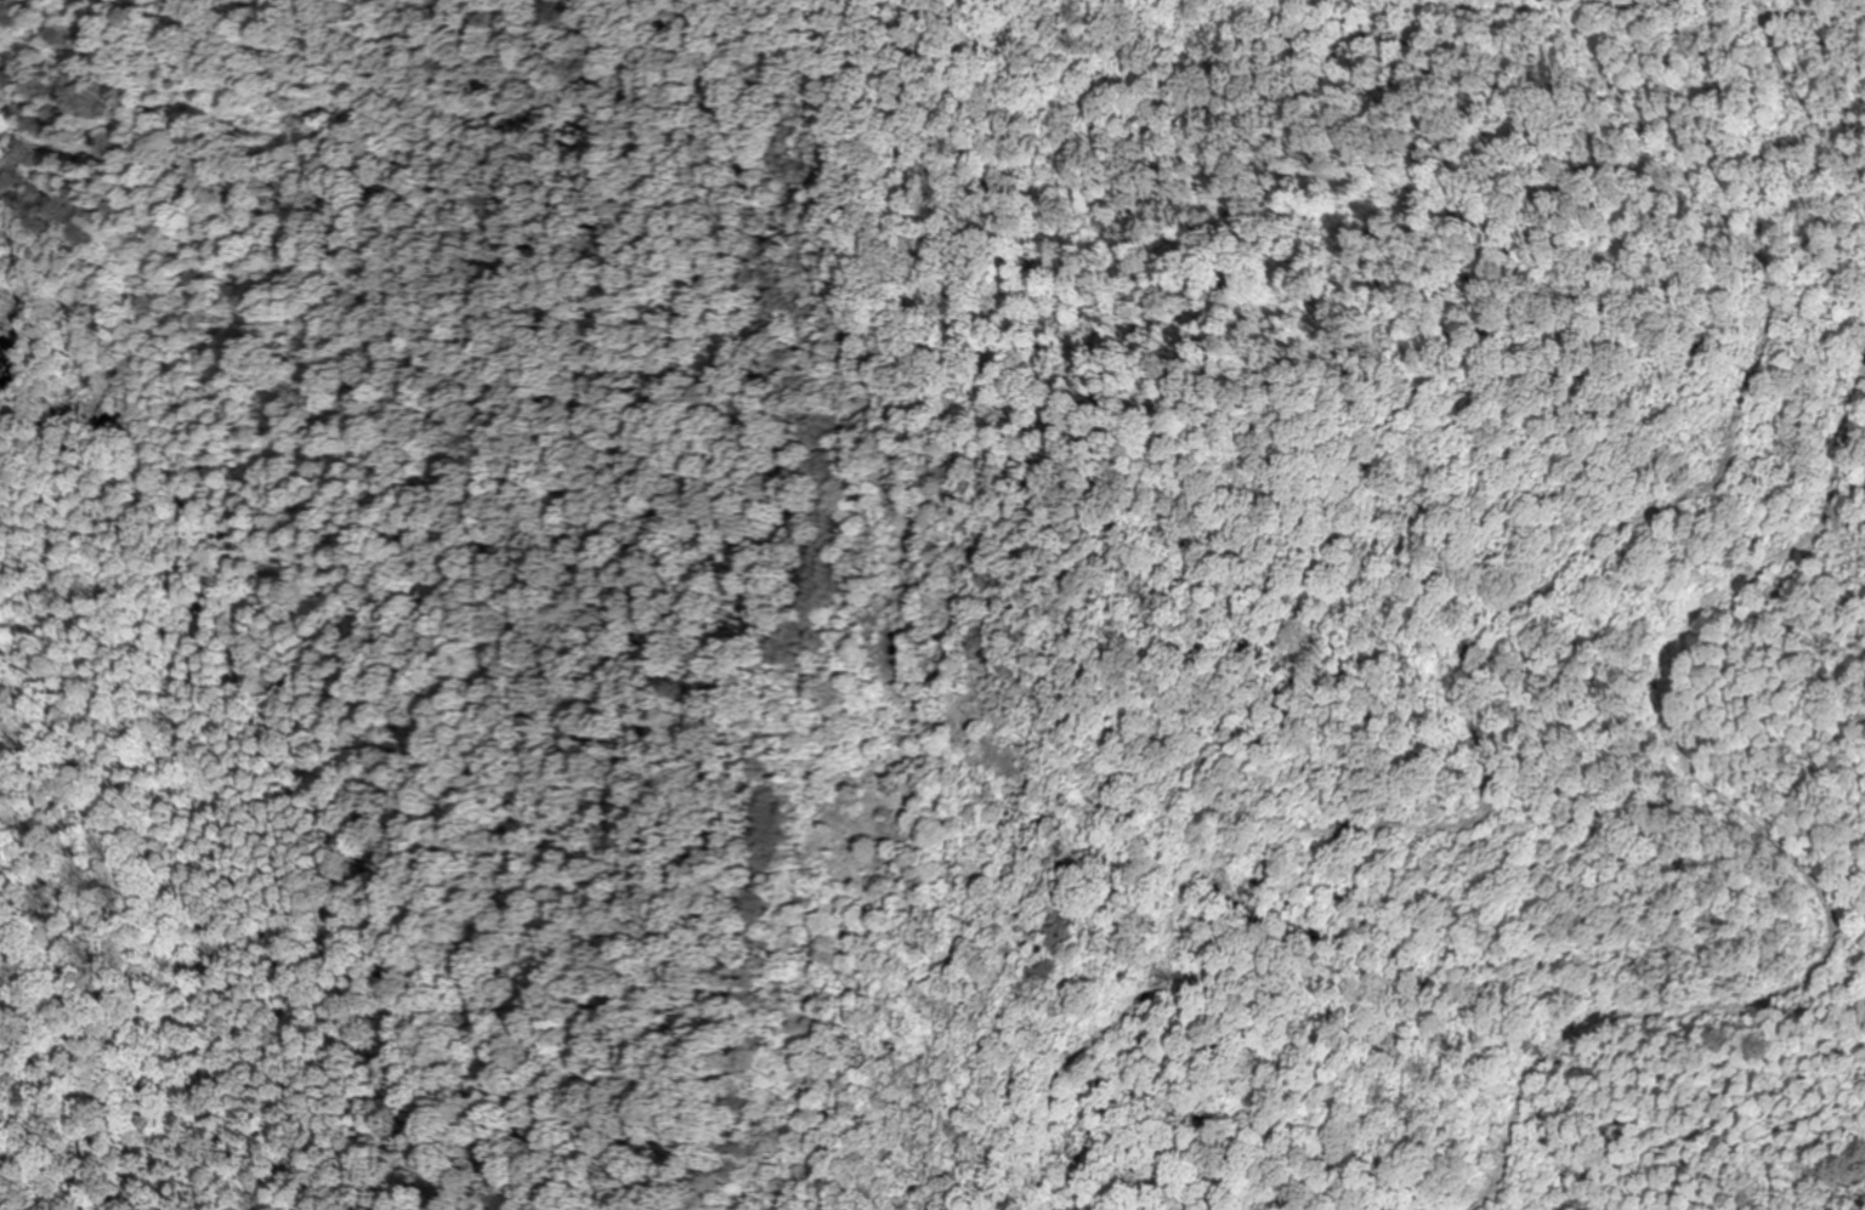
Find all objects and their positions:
road: (983, 570)

